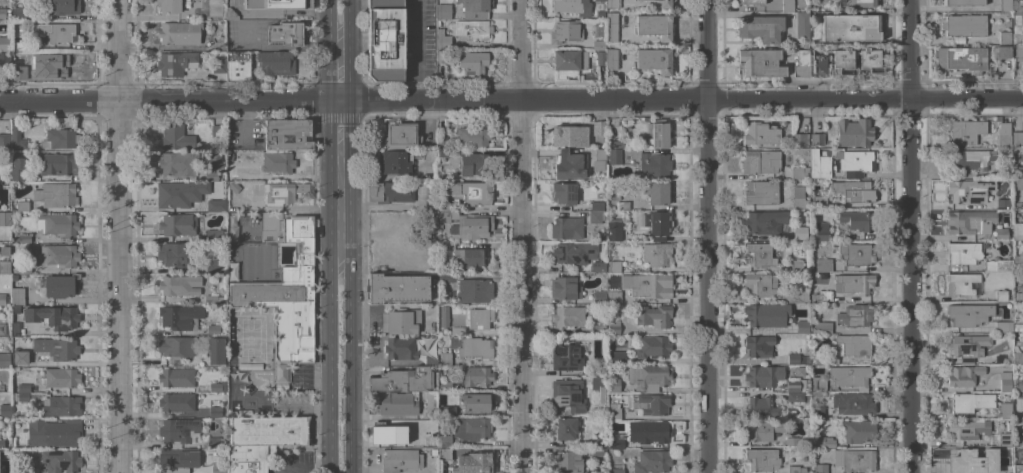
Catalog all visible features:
building: (750, 1)
building: (966, 2)
building: (277, 3)
building: (613, 3)
building: (861, 3)
building: (665, 4)
building: (788, 5)
building: (1006, 5)
building: (63, 6)
building: (168, 6)
building: (1018, 6)
building: (572, 7)
building: (476, 8)
building: (216, 9)
building: (444, 11)
building: (18, 12)
building: (4, 13)
building: (231, 13)
road: (347, 16)
road: (332, 17)
building: (802, 25)
building: (966, 25)
building: (655, 26)
building: (611, 27)
building: (760, 27)
building: (850, 27)
building: (472, 28)
building: (566, 31)
building: (1017, 31)
building: (54, 32)
building: (180, 32)
building: (287, 33)
building: (1005, 37)
building: (385, 39)
building: (443, 39)
building: (5, 43)
building: (599, 44)
building: (214, 45)
building: (19, 46)
road: (417, 49)
building: (1003, 51)
building: (1018, 54)
building: (441, 56)
building: (600, 56)
building: (4, 58)
building: (612, 58)
building: (963, 58)
building: (19, 59)
building: (570, 59)
building: (655, 59)
building: (871, 59)
building: (176, 62)
building: (275, 62)
building: (472, 62)
building: (760, 62)
building: (831, 62)
building: (802, 63)
building: (218, 64)
building: (238, 64)
building: (61, 66)
road: (341, 66)
road: (511, 98)
building: (599, 127)
road: (341, 129)
building: (964, 131)
building: (219, 132)
building: (659, 132)
building: (854, 132)
building: (761, 133)
building: (288, 134)
building: (400, 134)
building: (1004, 134)
building: (473, 135)
building: (569, 135)
building: (176, 137)
building: (18, 138)
building: (60, 138)
building: (817, 139)
building: (1017, 139)
building: (798, 140)
building: (5, 141)
building: (442, 142)
building: (615, 143)
building: (443, 153)
building: (614, 155)
building: (230, 156)
building: (970, 158)
building: (599, 159)
building: (214, 160)
building: (397, 161)
building: (760, 161)
building: (278, 162)
building: (856, 162)
building: (58, 163)
building: (178, 164)
building: (473, 164)
building: (819, 164)
building: (654, 165)
building: (568, 166)
building: (17, 168)
building: (1003, 170)
building: (799, 172)
building: (1018, 172)
building: (1018, 183)
building: (234, 186)
building: (854, 190)
building: (969, 190)
building: (390, 191)
building: (471, 191)
building: (283, 192)
building: (656, 192)
building: (564, 193)
building: (761, 193)
building: (56, 194)
building: (174, 194)
building: (614, 196)
building: (799, 198)
building: (819, 201)
building: (1002, 202)
building: (1016, 203)
building: (6, 204)
building: (215, 204)
building: (23, 205)
building: (444, 205)
building: (597, 205)
building: (623, 205)
road: (289, 207)
building: (595, 217)
building: (443, 218)
building: (857, 219)
building: (970, 221)
building: (766, 222)
building: (57, 224)
building: (178, 224)
building: (656, 225)
building: (472, 226)
building: (568, 227)
building: (1018, 230)
building: (613, 231)
building: (821, 231)
building: (1001, 233)
building: (799, 234)
building: (216, 235)
road: (119, 236)
road: (520, 236)
road: (707, 236)
road: (910, 236)
building: (25, 238)
building: (443, 245)
building: (572, 252)
building: (963, 253)
building: (60, 254)
building: (174, 254)
building: (657, 254)
building: (760, 254)
building: (855, 254)
building: (471, 256)
building: (5, 259)
building: (1018, 261)
building: (823, 264)
building: (998, 264)
building: (615, 265)
building: (797, 265)
building: (213, 266)
building: (599, 266)
building: (22, 268)
building: (854, 283)
building: (180, 284)
building: (647, 284)
building: (965, 284)
building: (60, 285)
building: (759, 285)
building: (398, 287)
building: (469, 287)
building: (565, 288)
building: (18, 295)
building: (287, 295)
building: (822, 295)
building: (1004, 295)
building: (600, 296)
building: (614, 296)
building: (795, 296)
building: (2, 298)
building: (211, 298)
building: (16, 308)
building: (968, 313)
building: (766, 314)
building: (444, 315)
building: (654, 315)
building: (856, 315)
building: (53, 316)
building: (181, 316)
road: (342, 316)
building: (568, 316)
building: (480, 318)
building: (401, 321)
building: (802, 326)
building: (1003, 326)
building: (1018, 326)
building: (614, 327)
building: (823, 327)
building: (4, 328)
building: (16, 328)
building: (215, 328)
building: (600, 328)
building: (586, 329)
building: (458, 330)
building: (760, 345)
building: (472, 346)
building: (653, 346)
building: (968, 346)
building: (177, 347)
building: (848, 347)
building: (56, 348)
building: (401, 348)
building: (216, 350)
building: (566, 356)
building: (618, 356)
building: (1018, 357)
building: (431, 358)
building: (445, 358)
building: (798, 358)
building: (999, 358)
building: (5, 359)
building: (1010, 359)
building: (21, 361)
building: (598, 370)
building: (763, 375)
building: (964, 375)
building: (477, 376)
building: (648, 376)
building: (851, 376)
building: (1017, 376)
building: (62, 377)
building: (177, 377)
building: (406, 379)
building: (1005, 381)
building: (613, 384)
building: (819, 384)
building: (797, 385)
building: (218, 386)
building: (446, 386)
building: (598, 386)
building: (2, 387)
building: (23, 387)
building: (568, 395)
building: (20, 396)
building: (793, 396)
building: (477, 401)
building: (971, 401)
building: (176, 403)
building: (398, 403)
building: (655, 403)
building: (853, 403)
building: (64, 405)
building: (762, 407)
building: (1004, 409)
building: (6, 410)
building: (447, 410)
building: (817, 410)
building: (216, 411)
building: (615, 411)
building: (20, 423)
building: (469, 427)
building: (969, 428)
building: (566, 429)
building: (764, 429)
building: (178, 431)
building: (269, 431)
building: (649, 431)
building: (859, 431)
building: (56, 434)
building: (396, 435)
building: (1005, 439)
building: (445, 440)
building: (214, 441)
building: (600, 441)
building: (616, 441)
building: (792, 441)
building: (16, 442)
building: (2, 443)
building: (828, 443)
building: (599, 451)
building: (444, 453)
building: (1002, 456)
building: (963, 458)
building: (247, 459)
building: (401, 459)
building: (761, 459)
building: (855, 459)
building: (61, 460)
building: (176, 460)
building: (567, 460)
building: (652, 461)
building: (474, 463)
building: (219, 467)
building: (820, 467)
building: (616, 468)
building: (1004, 468)
building: (1018, 468)
building: (797, 469)
building: (5, 470)
building: (26, 471)

